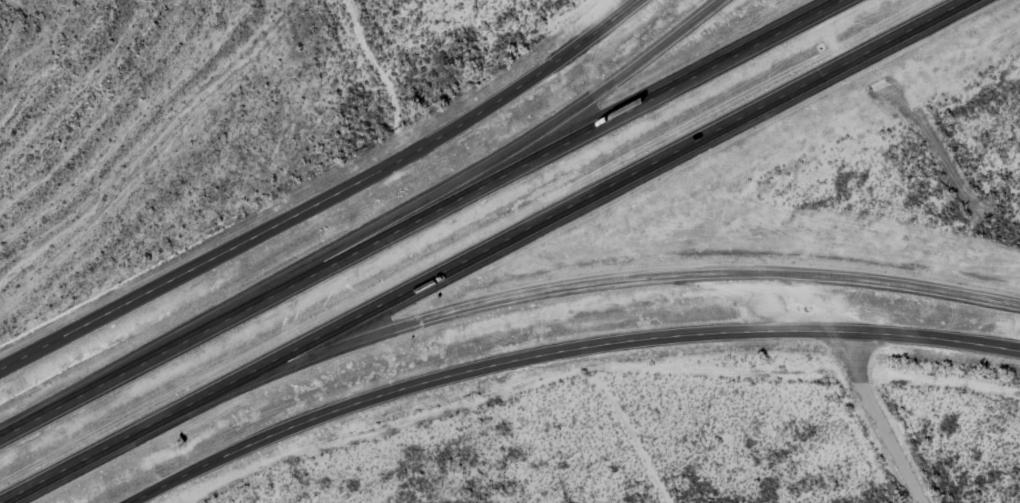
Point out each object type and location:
road: (538, 135)
road: (328, 198)
road: (417, 218)
road: (489, 251)
road: (603, 281)
road: (555, 351)

